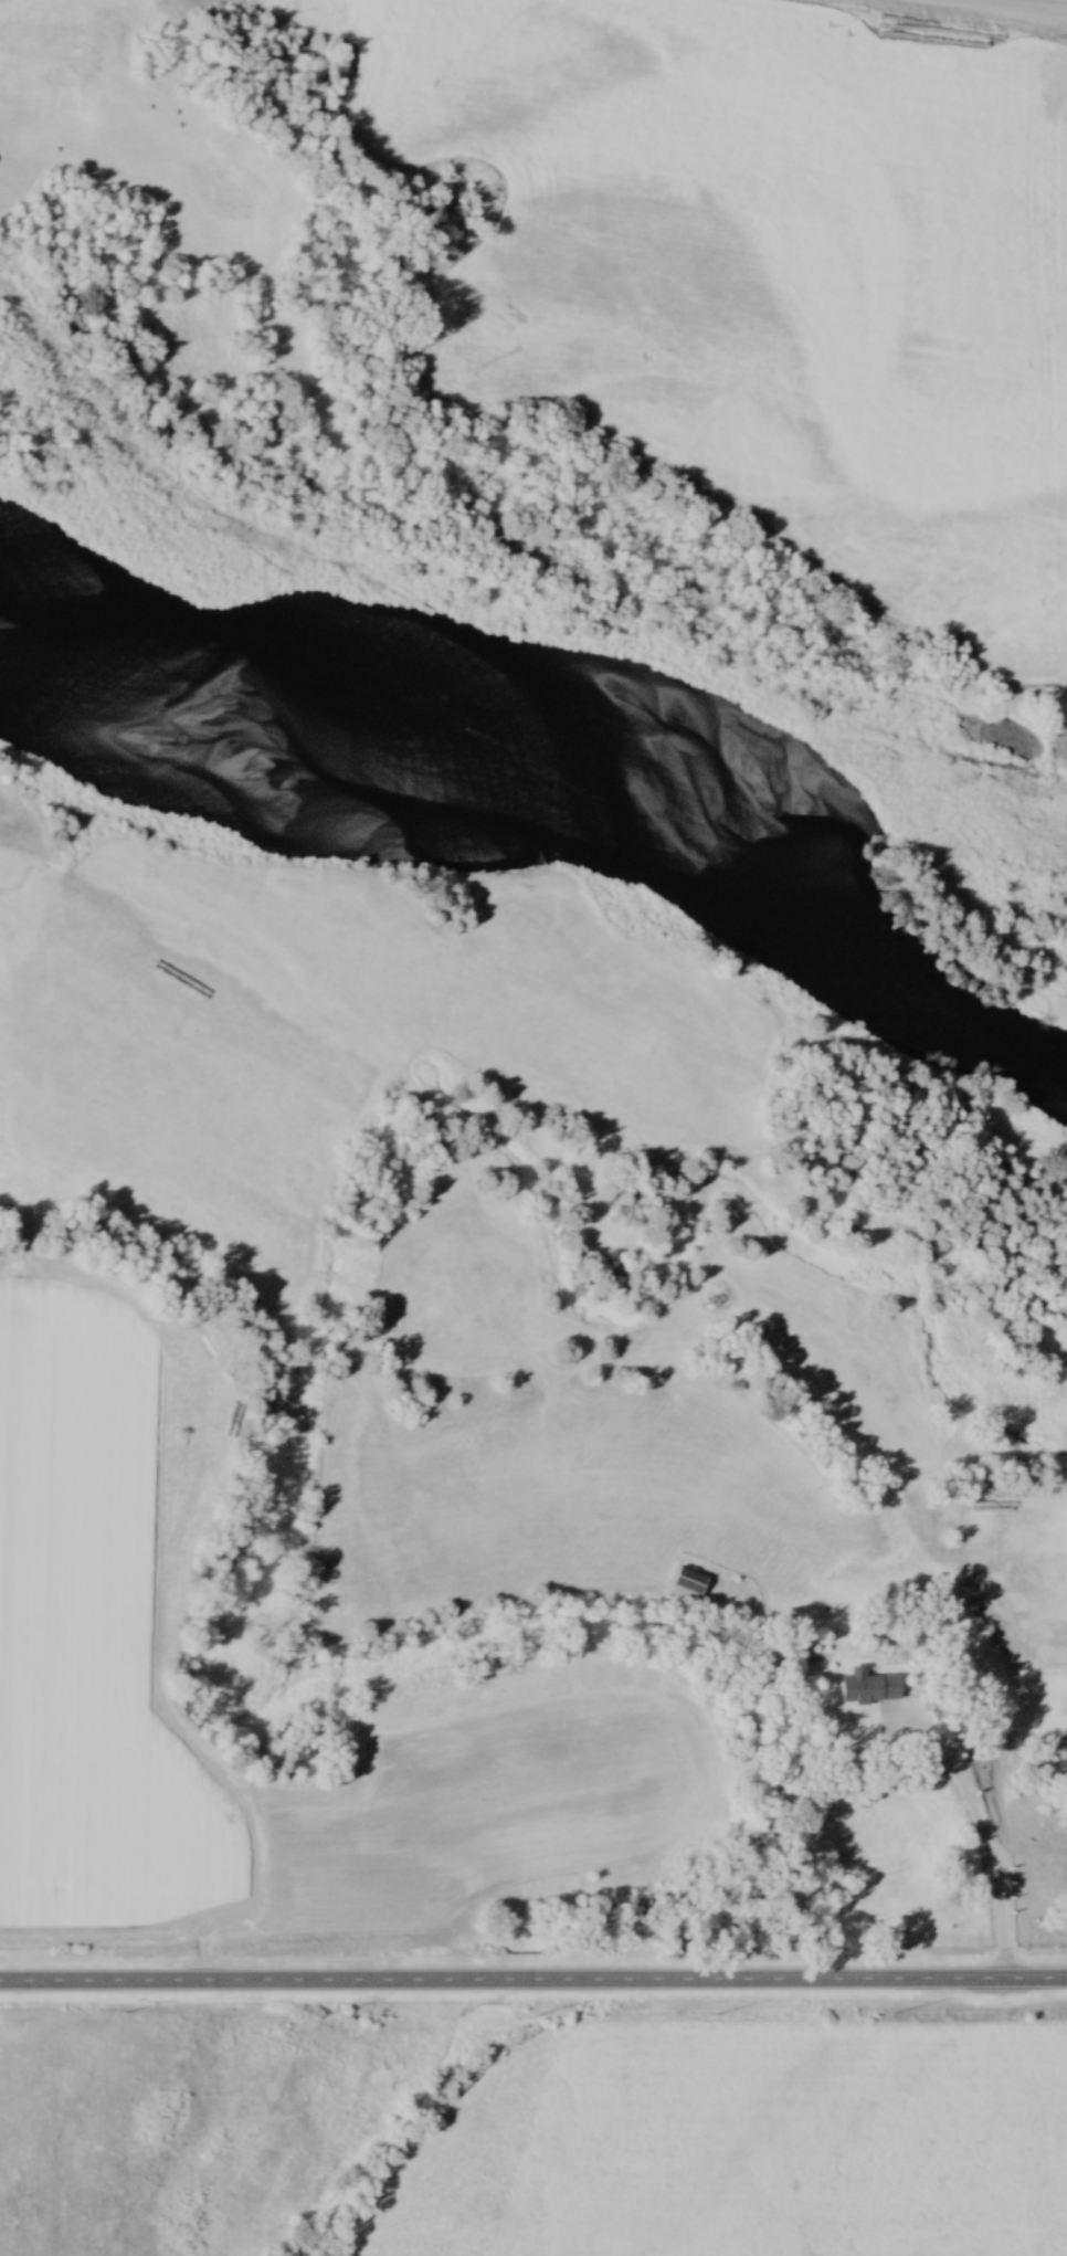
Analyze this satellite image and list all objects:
road: (1026, 6)
river: (525, 810)
building: (687, 1589)
building: (869, 1689)
road: (983, 1824)
road: (532, 1976)

